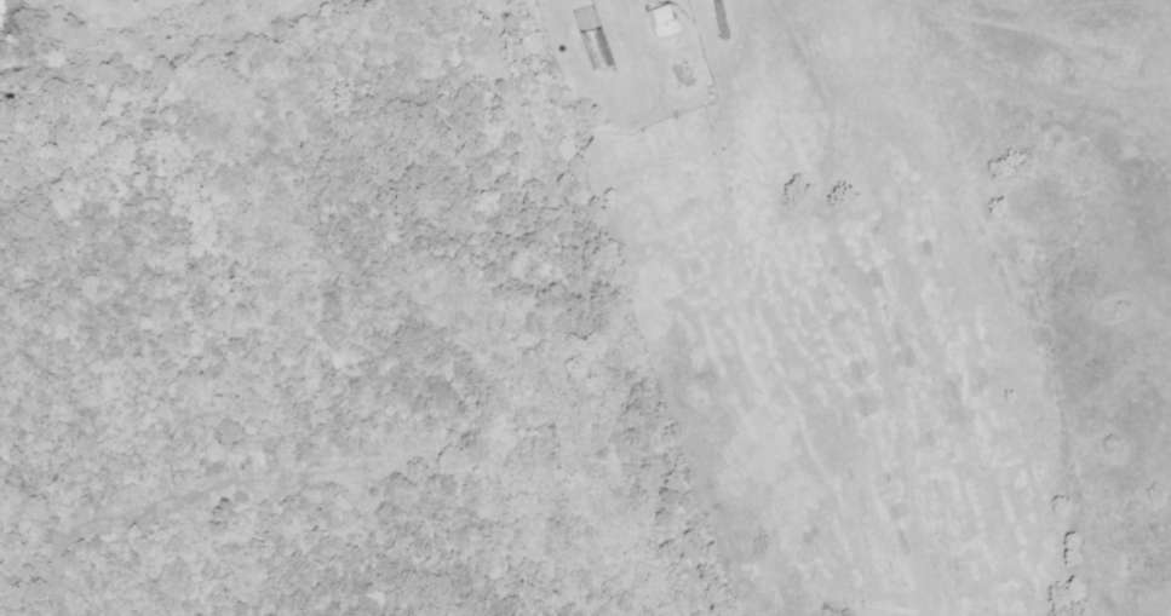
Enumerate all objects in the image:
building: (666, 19)
building: (599, 48)

